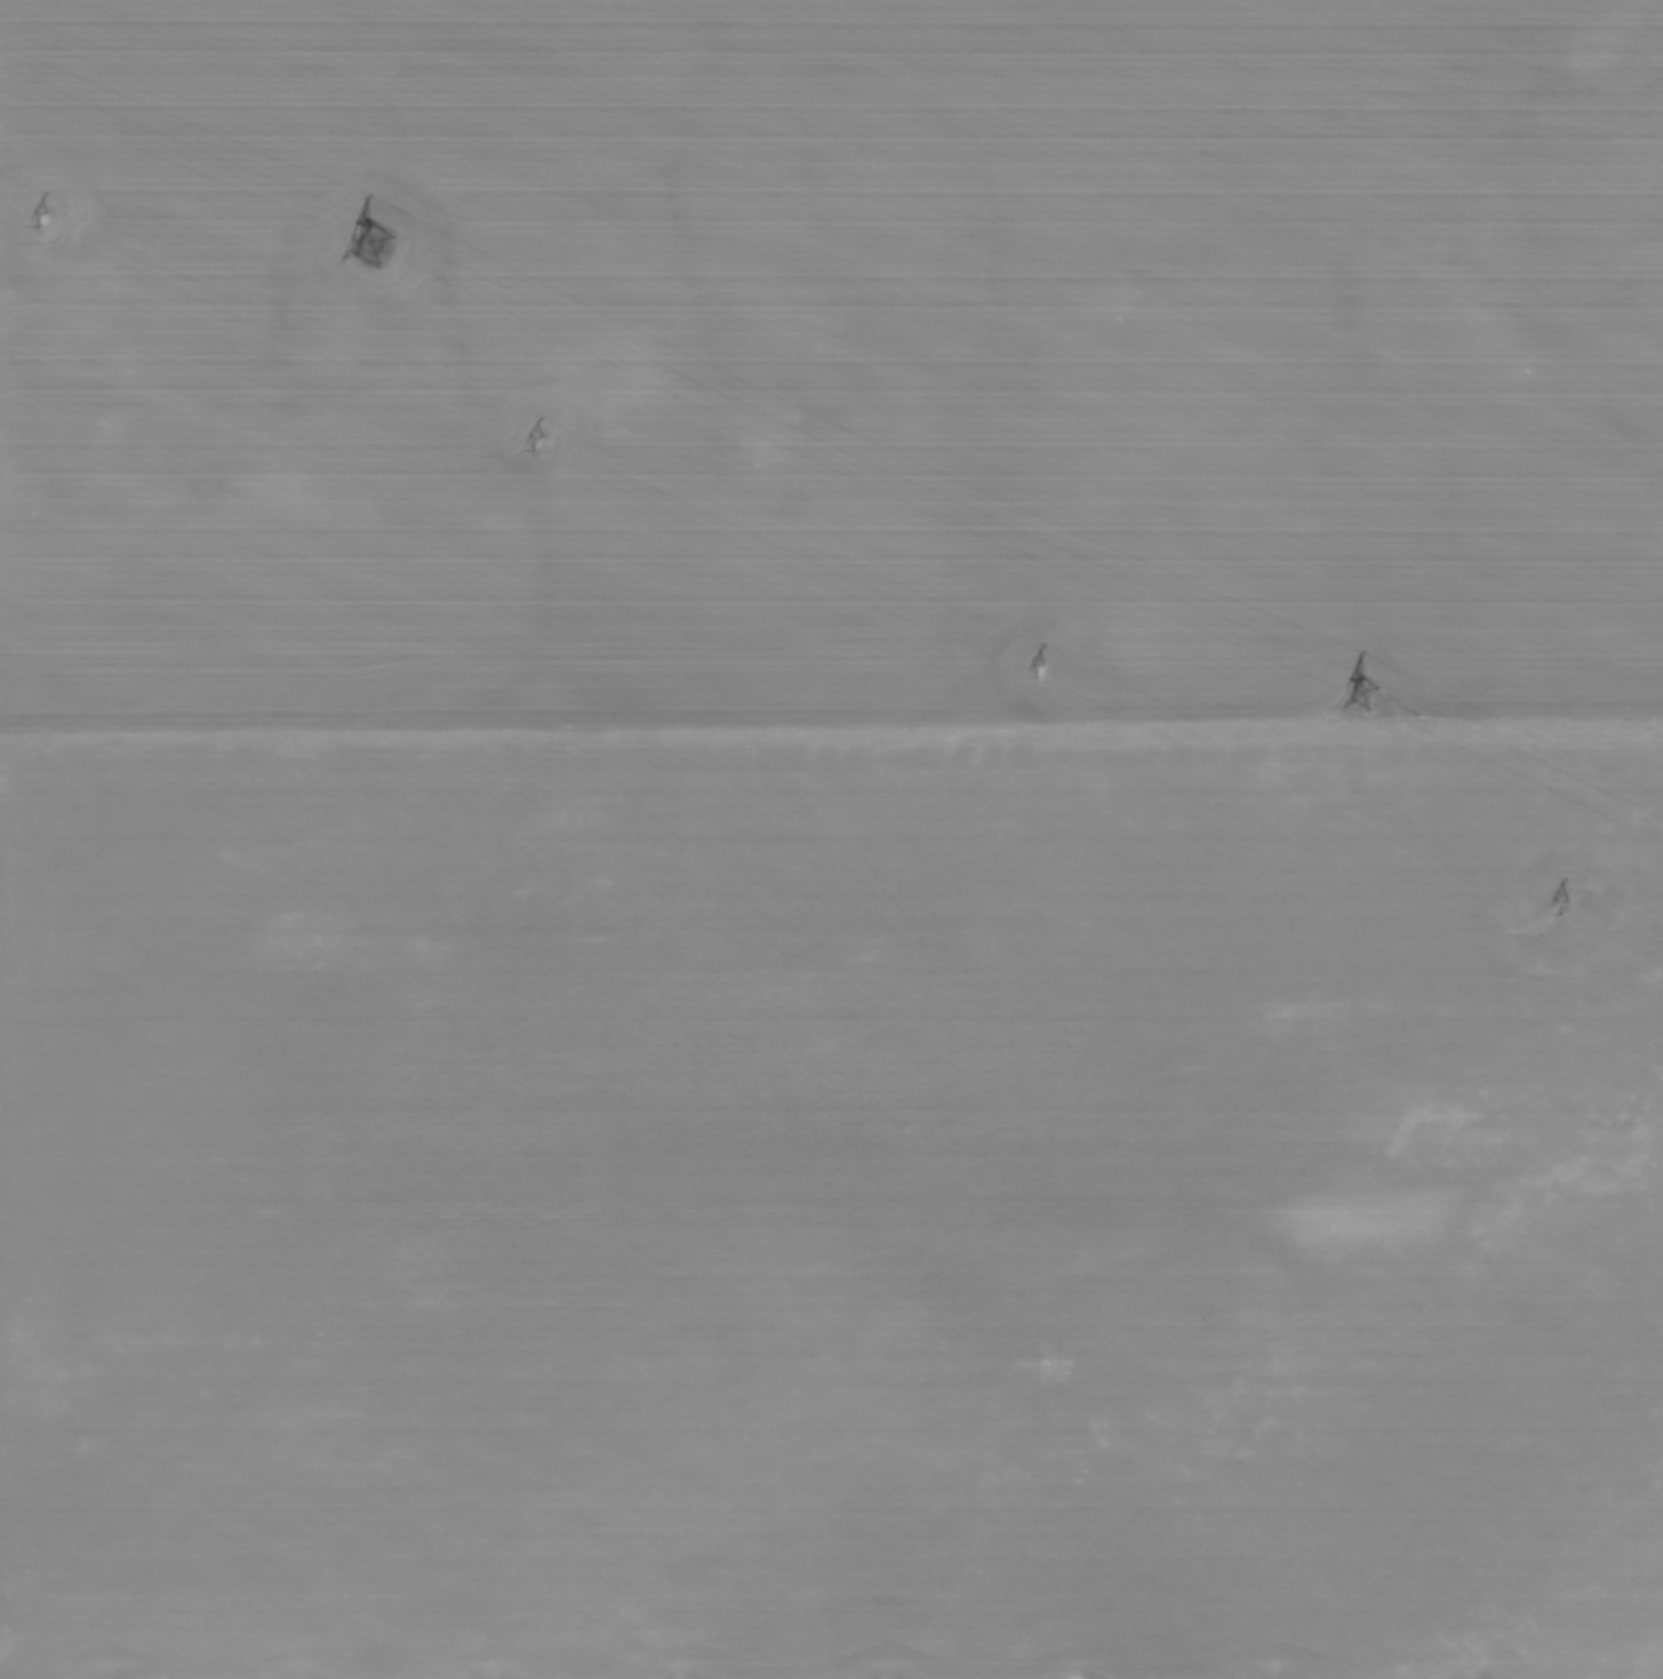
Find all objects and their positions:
power tower: (45, 219)
power tower: (375, 244)
power tower: (540, 447)
power tower: (1041, 670)
power tower: (1364, 690)
crop: (831, 839)
power tower: (1567, 911)

